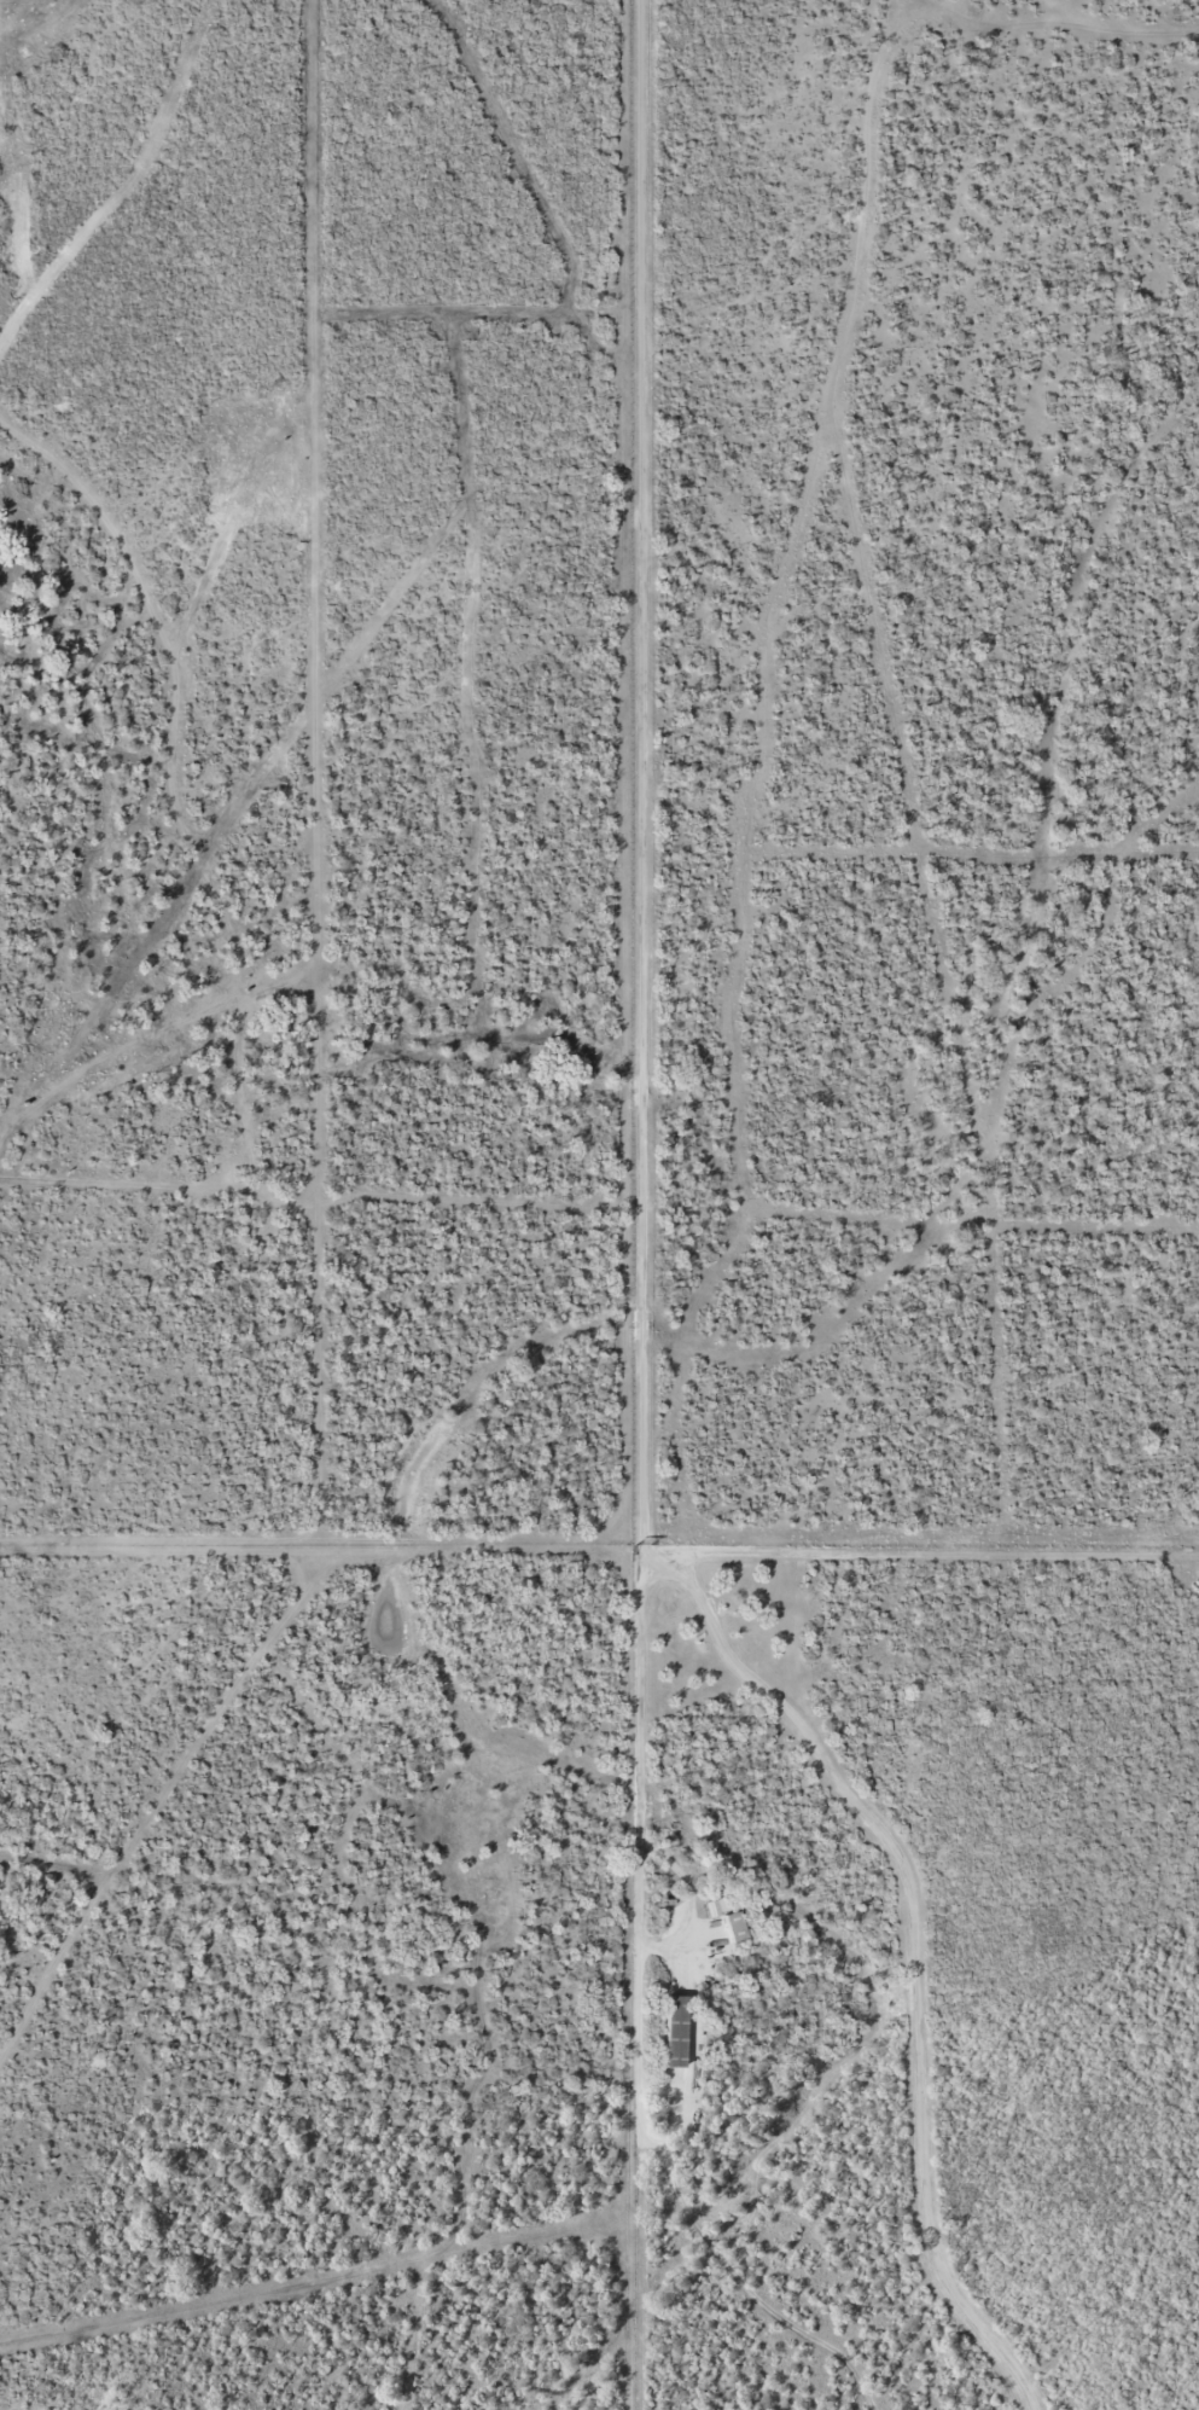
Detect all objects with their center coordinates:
road: (813, 628)
road: (599, 1247)
building: (733, 1928)

